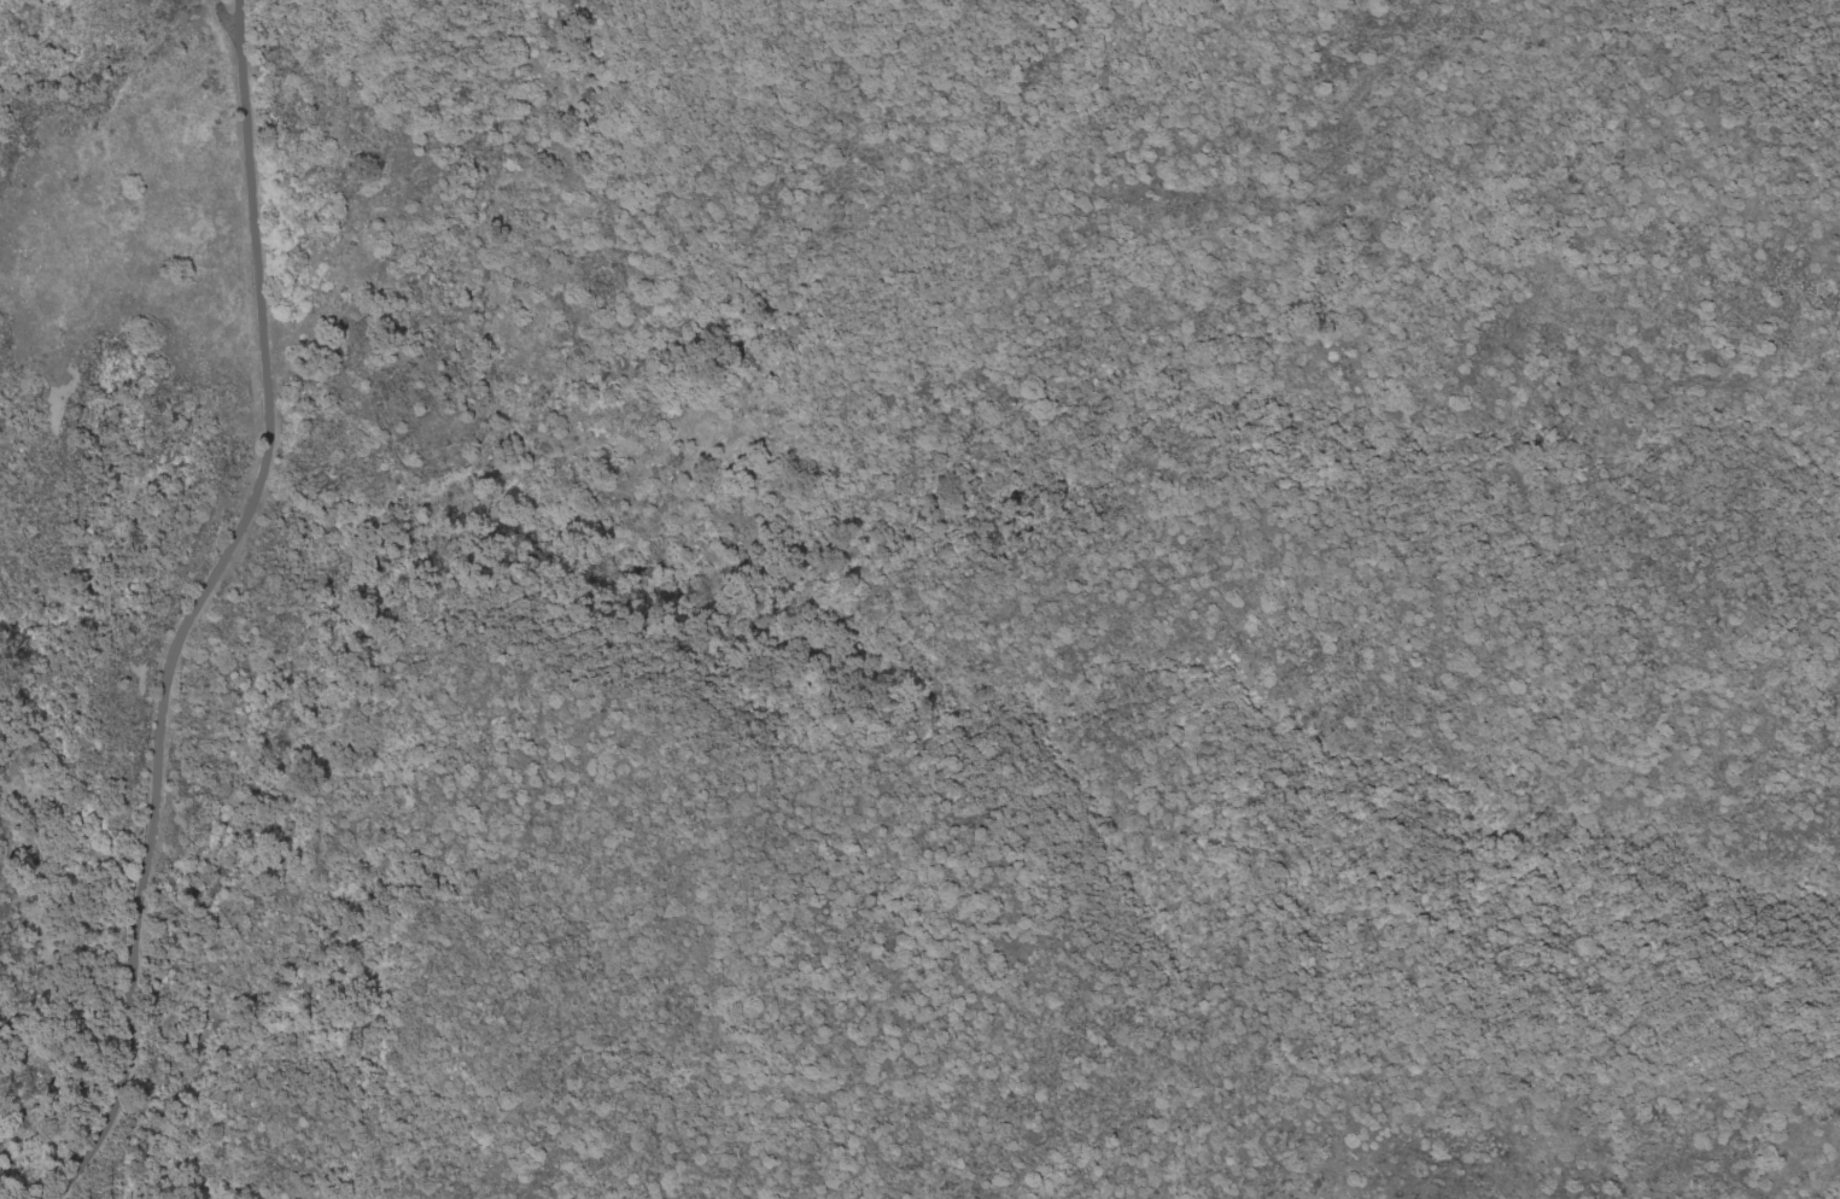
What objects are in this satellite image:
park: (167, 14)
road: (224, 21)
road: (1686, 157)
road: (200, 608)

